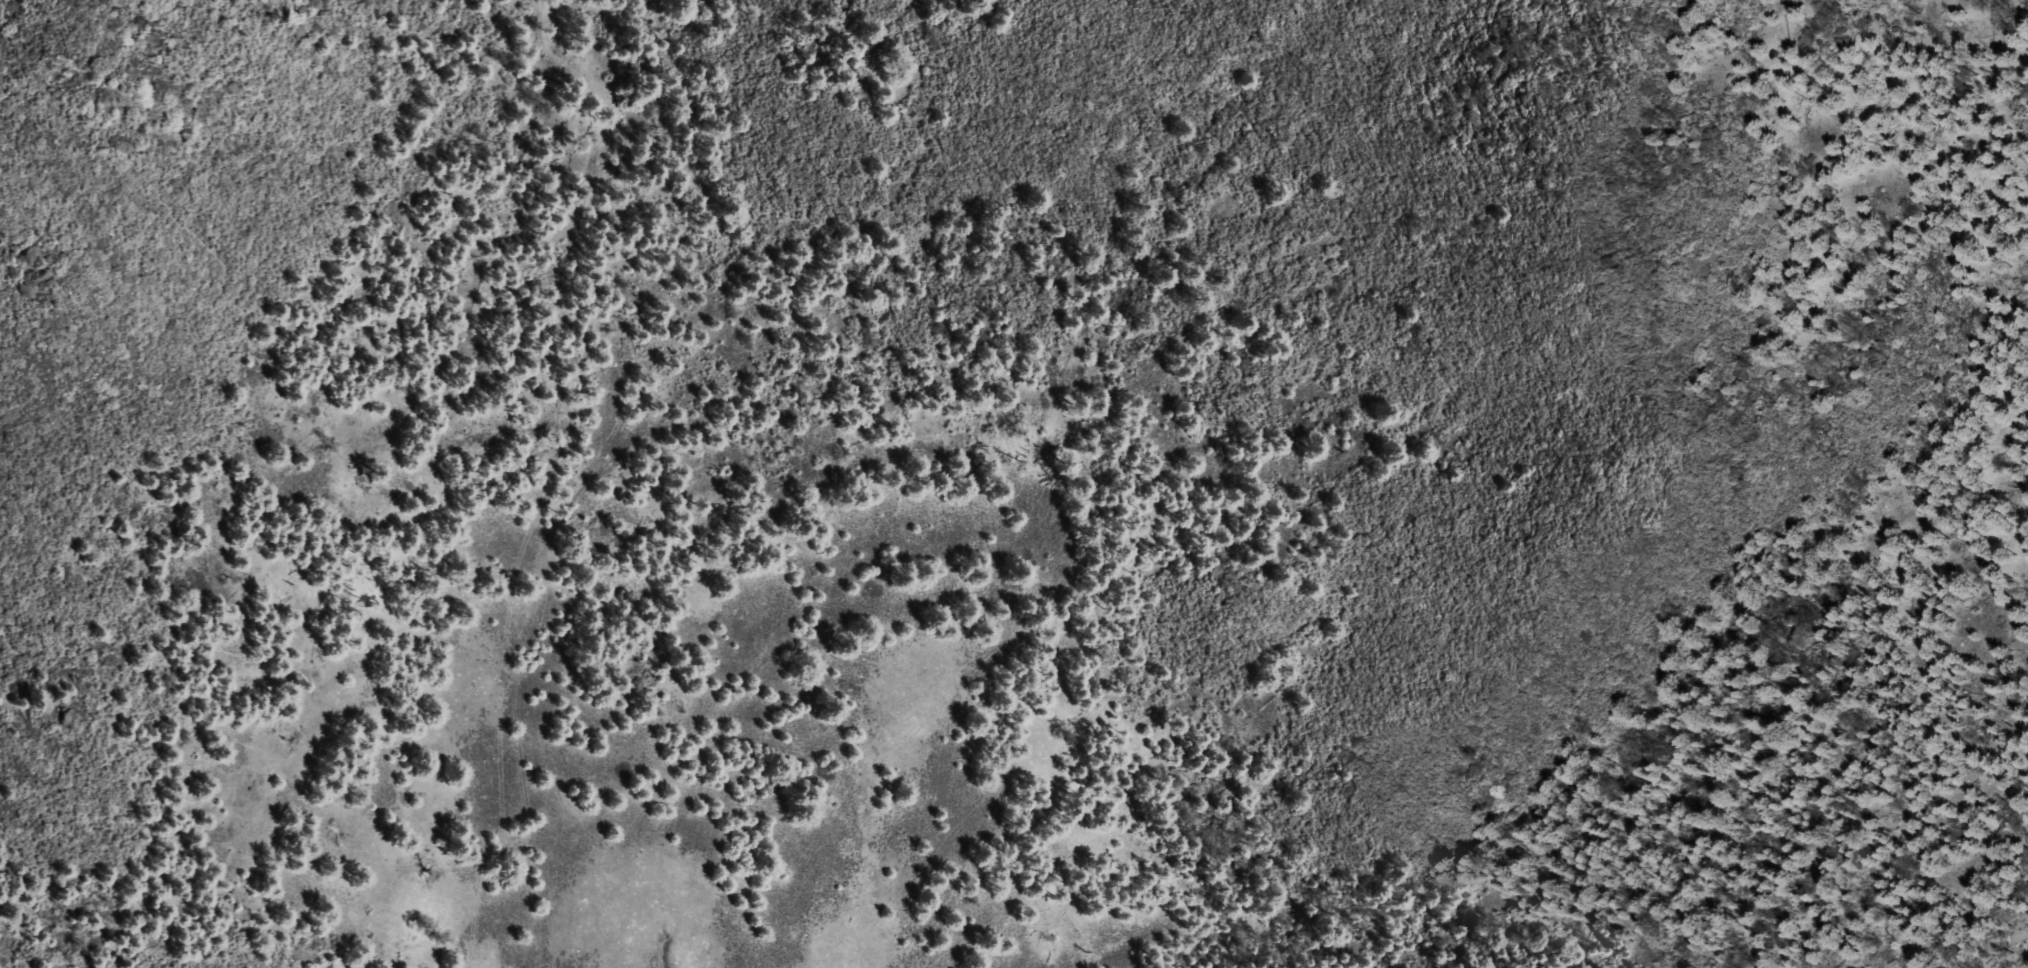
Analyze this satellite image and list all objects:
road: (1874, 143)

